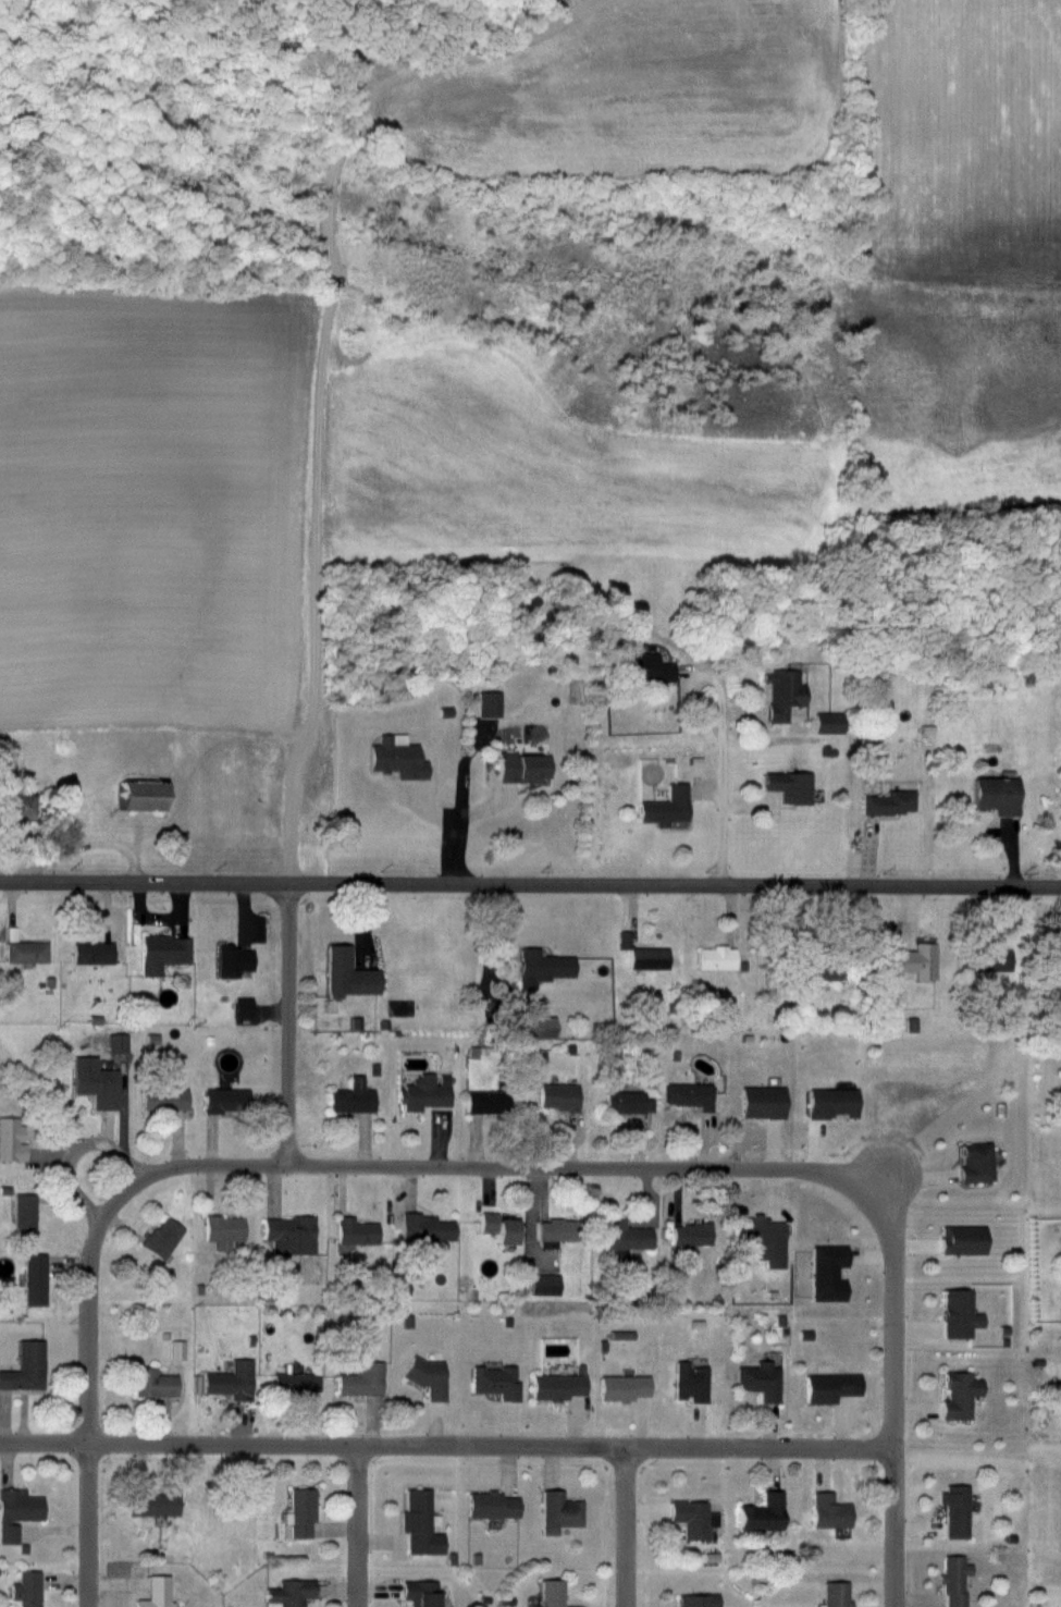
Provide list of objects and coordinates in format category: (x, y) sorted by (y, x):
building: (645, 668)
building: (781, 694)
building: (488, 704)
building: (827, 723)
building: (395, 758)
building: (522, 768)
road: (715, 785)
building: (790, 786)
building: (137, 796)
building: (995, 796)
building: (889, 802)
building: (15, 807)
building: (664, 808)
road: (449, 813)
road: (530, 890)
building: (624, 940)
building: (25, 953)
building: (91, 953)
building: (162, 953)
building: (647, 958)
building: (715, 958)
building: (990, 960)
building: (233, 961)
building: (916, 961)
building: (542, 968)
building: (817, 969)
building: (345, 974)
building: (243, 1007)
road: (281, 1027)
building: (535, 1028)
building: (118, 1044)
building: (95, 1082)
building: (423, 1093)
building: (688, 1095)
building: (558, 1096)
building: (351, 1097)
building: (163, 1100)
building: (225, 1101)
building: (624, 1102)
building: (485, 1103)
building: (761, 1103)
building: (830, 1103)
building: (11, 1139)
road: (77, 1148)
building: (975, 1163)
road: (422, 1166)
road: (877, 1181)
building: (24, 1213)
building: (425, 1228)
building: (497, 1228)
building: (554, 1230)
building: (223, 1231)
building: (355, 1231)
building: (288, 1236)
building: (626, 1237)
building: (690, 1237)
building: (161, 1238)
building: (761, 1239)
building: (962, 1240)
building: (827, 1273)
building: (34, 1280)
building: (544, 1285)
building: (1060, 1310)
building: (958, 1315)
building: (176, 1350)
building: (25, 1367)
road: (890, 1369)
building: (427, 1377)
building: (360, 1381)
building: (760, 1381)
building: (229, 1382)
building: (495, 1383)
building: (690, 1383)
building: (152, 1384)
building: (296, 1384)
building: (556, 1387)
building: (622, 1388)
building: (830, 1388)
building: (959, 1396)
road: (88, 1439)
road: (445, 1446)
building: (156, 1504)
building: (492, 1506)
building: (955, 1511)
building: (829, 1512)
building: (27, 1513)
building: (300, 1513)
building: (558, 1513)
building: (762, 1514)
building: (693, 1519)
building: (420, 1524)
road: (354, 1526)
road: (624, 1528)
building: (953, 1580)
building: (26, 1590)
building: (40, 1590)
building: (155, 1593)
building: (288, 1593)
building: (419, 1594)
building: (551, 1594)
building: (834, 1595)
building: (698, 1600)

